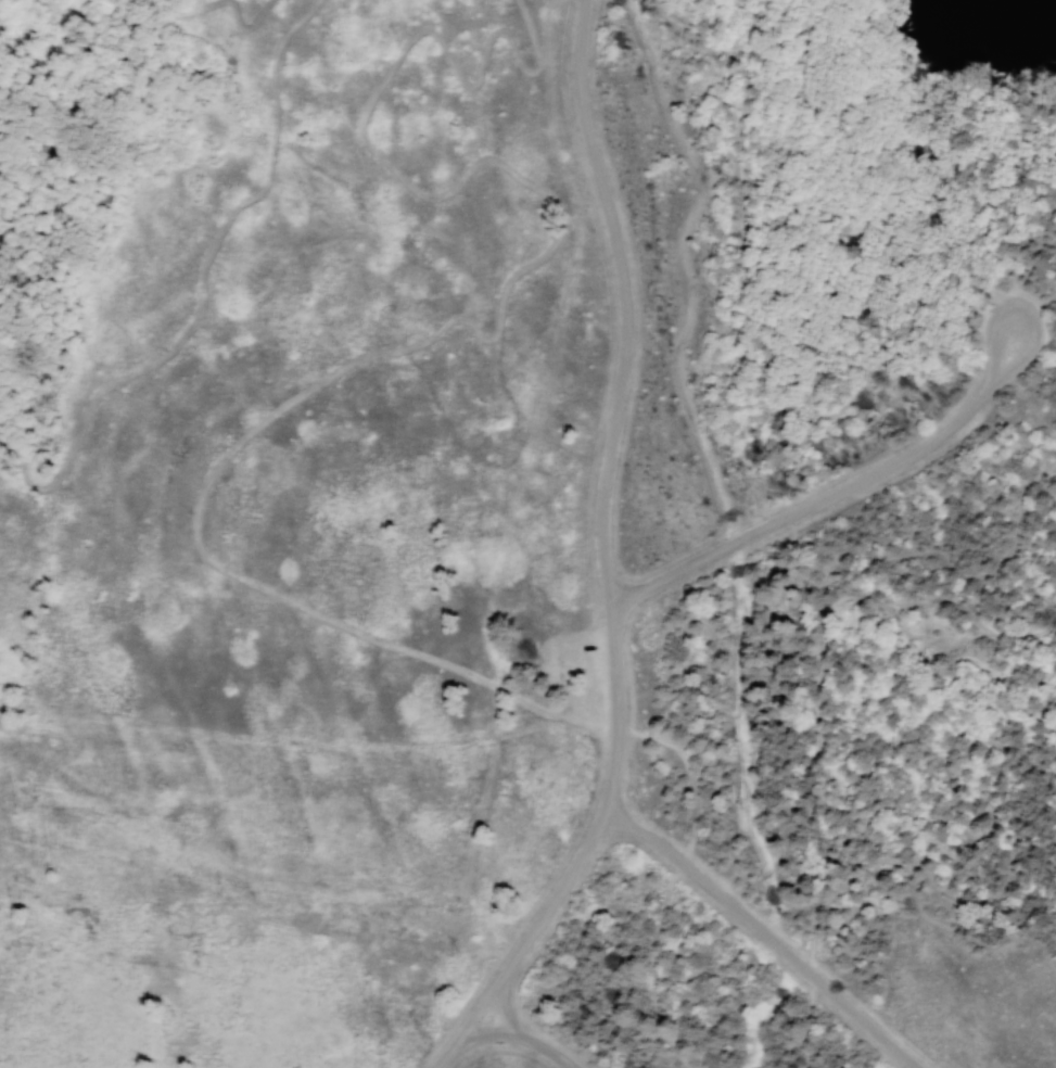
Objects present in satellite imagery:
road: (774, 48)
road: (122, 111)
road: (205, 295)
road: (791, 402)
road: (616, 404)
road: (832, 495)
road: (202, 505)
park: (527, 534)
road: (772, 690)
road: (687, 763)
road: (966, 798)
road: (684, 857)
road: (498, 1013)

